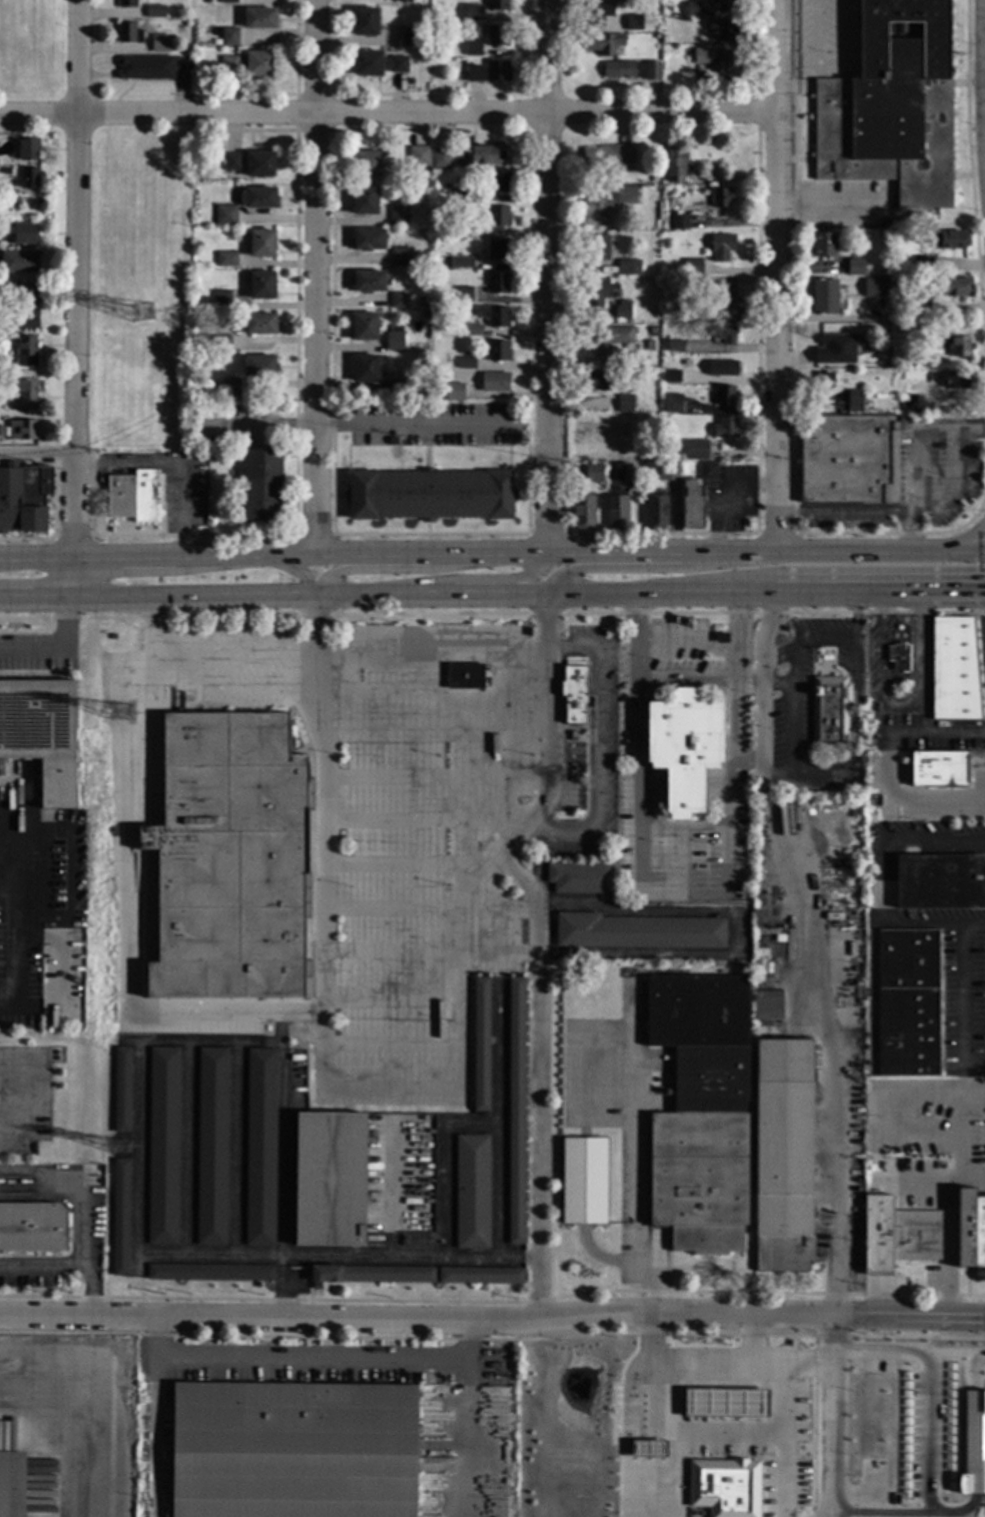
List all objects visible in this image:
building: (206, 1)
building: (405, 1)
building: (627, 1)
building: (228, 2)
building: (126, 3)
building: (497, 5)
building: (725, 5)
building: (693, 9)
building: (154, 12)
building: (472, 13)
building: (597, 14)
building: (259, 19)
building: (364, 21)
building: (634, 24)
building: (656, 27)
building: (722, 29)
building: (424, 33)
building: (128, 34)
building: (497, 36)
building: (229, 37)
building: (410, 37)
building: (656, 37)
building: (160, 43)
building: (603, 43)
building: (472, 47)
building: (718, 64)
building: (249, 65)
building: (376, 65)
road: (827, 65)
building: (145, 67)
building: (621, 70)
building: (652, 71)
building: (488, 72)
building: (409, 82)
building: (890, 107)
road: (388, 115)
building: (28, 150)
building: (490, 155)
building: (419, 157)
building: (442, 159)
building: (606, 159)
building: (232, 163)
building: (259, 165)
building: (368, 165)
building: (676, 165)
building: (6, 171)
building: (424, 177)
building: (29, 178)
building: (497, 183)
building: (446, 189)
building: (462, 193)
building: (625, 194)
building: (255, 198)
building: (721, 198)
building: (364, 201)
building: (595, 205)
building: (226, 215)
building: (398, 216)
building: (498, 217)
building: (679, 222)
building: (910, 222)
building: (463, 228)
building: (24, 234)
building: (368, 240)
building: (948, 240)
building: (261, 243)
building: (823, 245)
building: (598, 248)
building: (722, 248)
building: (498, 250)
building: (400, 257)
building: (226, 259)
building: (19, 262)
building: (460, 263)
building: (921, 264)
building: (437, 265)
building: (628, 267)
building: (693, 267)
building: (855, 268)
road: (775, 277)
road: (318, 278)
road: (549, 278)
road: (79, 280)
building: (368, 282)
building: (498, 283)
building: (901, 283)
building: (259, 285)
building: (875, 288)
building: (954, 288)
building: (688, 289)
building: (21, 292)
building: (597, 293)
building: (464, 294)
building: (824, 297)
building: (221, 300)
building: (726, 300)
building: (399, 301)
building: (622, 310)
building: (920, 310)
power tower: (144, 312)
building: (656, 313)
building: (494, 315)
building: (662, 315)
building: (18, 319)
building: (260, 324)
building: (364, 327)
building: (898, 327)
building: (911, 328)
building: (473, 331)
building: (653, 331)
building: (725, 334)
building: (610, 338)
building: (394, 339)
building: (828, 343)
building: (221, 344)
building: (674, 346)
building: (959, 347)
building: (498, 351)
building: (26, 352)
building: (850, 358)
building: (626, 360)
building: (839, 361)
building: (466, 364)
building: (259, 367)
building: (722, 368)
building: (365, 369)
building: (912, 375)
building: (671, 377)
building: (595, 381)
building: (959, 381)
building: (494, 382)
building: (825, 382)
building: (230, 386)
building: (393, 389)
building: (440, 392)
building: (453, 392)
building: (26, 395)
building: (728, 397)
building: (853, 401)
building: (625, 403)
building: (672, 404)
building: (913, 404)
road: (262, 428)
road: (418, 428)
building: (725, 428)
building: (25, 430)
building: (392, 442)
building: (695, 449)
road: (39, 453)
building: (214, 453)
building: (847, 458)
road: (176, 465)
building: (707, 471)
building: (667, 472)
building: (593, 473)
building: (262, 485)
building: (430, 495)
building: (617, 496)
building: (133, 497)
building: (24, 498)
building: (692, 509)
building: (582, 512)
building: (655, 513)
road: (980, 517)
road: (968, 543)
road: (966, 552)
road: (559, 556)
road: (125, 561)
road: (39, 562)
road: (654, 568)
road: (384, 569)
road: (300, 571)
road: (470, 579)
road: (78, 581)
road: (943, 592)
road: (664, 594)
road: (841, 594)
road: (351, 595)
road: (468, 595)
road: (196, 597)
road: (38, 600)
road: (857, 613)
building: (112, 637)
building: (721, 638)
road: (832, 640)
building: (467, 644)
road: (690, 645)
road: (53, 646)
road: (260, 649)
road: (149, 653)
building: (897, 657)
road: (797, 658)
road: (207, 668)
building: (954, 670)
building: (464, 676)
road: (690, 684)
road: (752, 684)
road: (261, 689)
road: (638, 691)
building: (574, 694)
road: (857, 699)
road: (433, 700)
road: (759, 705)
road: (899, 707)
building: (829, 712)
building: (37, 720)
power tower: (116, 724)
road: (794, 727)
road: (937, 732)
building: (684, 749)
road: (550, 750)
road: (597, 752)
building: (937, 769)
road: (804, 775)
road: (732, 782)
building: (850, 788)
road: (654, 790)
road: (684, 793)
building: (309, 795)
road: (903, 800)
building: (111, 830)
road: (937, 839)
building: (229, 860)
building: (579, 878)
building: (940, 882)
road: (680, 902)
road: (879, 921)
road: (18, 926)
road: (126, 929)
building: (638, 932)
road: (739, 935)
building: (624, 980)
road: (962, 994)
building: (908, 1003)
building: (767, 1005)
road: (323, 1014)
road: (829, 1031)
building: (481, 1045)
road: (140, 1065)
road: (537, 1076)
building: (121, 1090)
building: (515, 1110)
building: (700, 1113)
road: (499, 1123)
building: (163, 1146)
building: (211, 1147)
building: (261, 1147)
power tower: (120, 1148)
road: (187, 1151)
building: (783, 1156)
road: (450, 1169)
building: (330, 1179)
building: (583, 1181)
road: (392, 1190)
building: (471, 1191)
road: (86, 1207)
building: (120, 1217)
building: (32, 1228)
building: (970, 1230)
building: (898, 1235)
road: (383, 1260)
road: (44, 1266)
road: (839, 1267)
building: (210, 1273)
building: (372, 1274)
building: (481, 1276)
road: (878, 1297)
road: (492, 1316)
traffic signals: (978, 1320)
road: (838, 1335)
road: (754, 1337)
road: (961, 1350)
road: (801, 1355)
road: (315, 1361)
building: (725, 1402)
road: (155, 1414)
road: (673, 1415)
road: (472, 1416)
road: (71, 1421)
gas station: (710, 1428)
road: (730, 1429)
road: (833, 1434)
road: (787, 1437)
building: (973, 1444)
building: (648, 1449)
building: (293, 1450)
road: (938, 1480)
building: (11, 1484)
building: (724, 1487)

